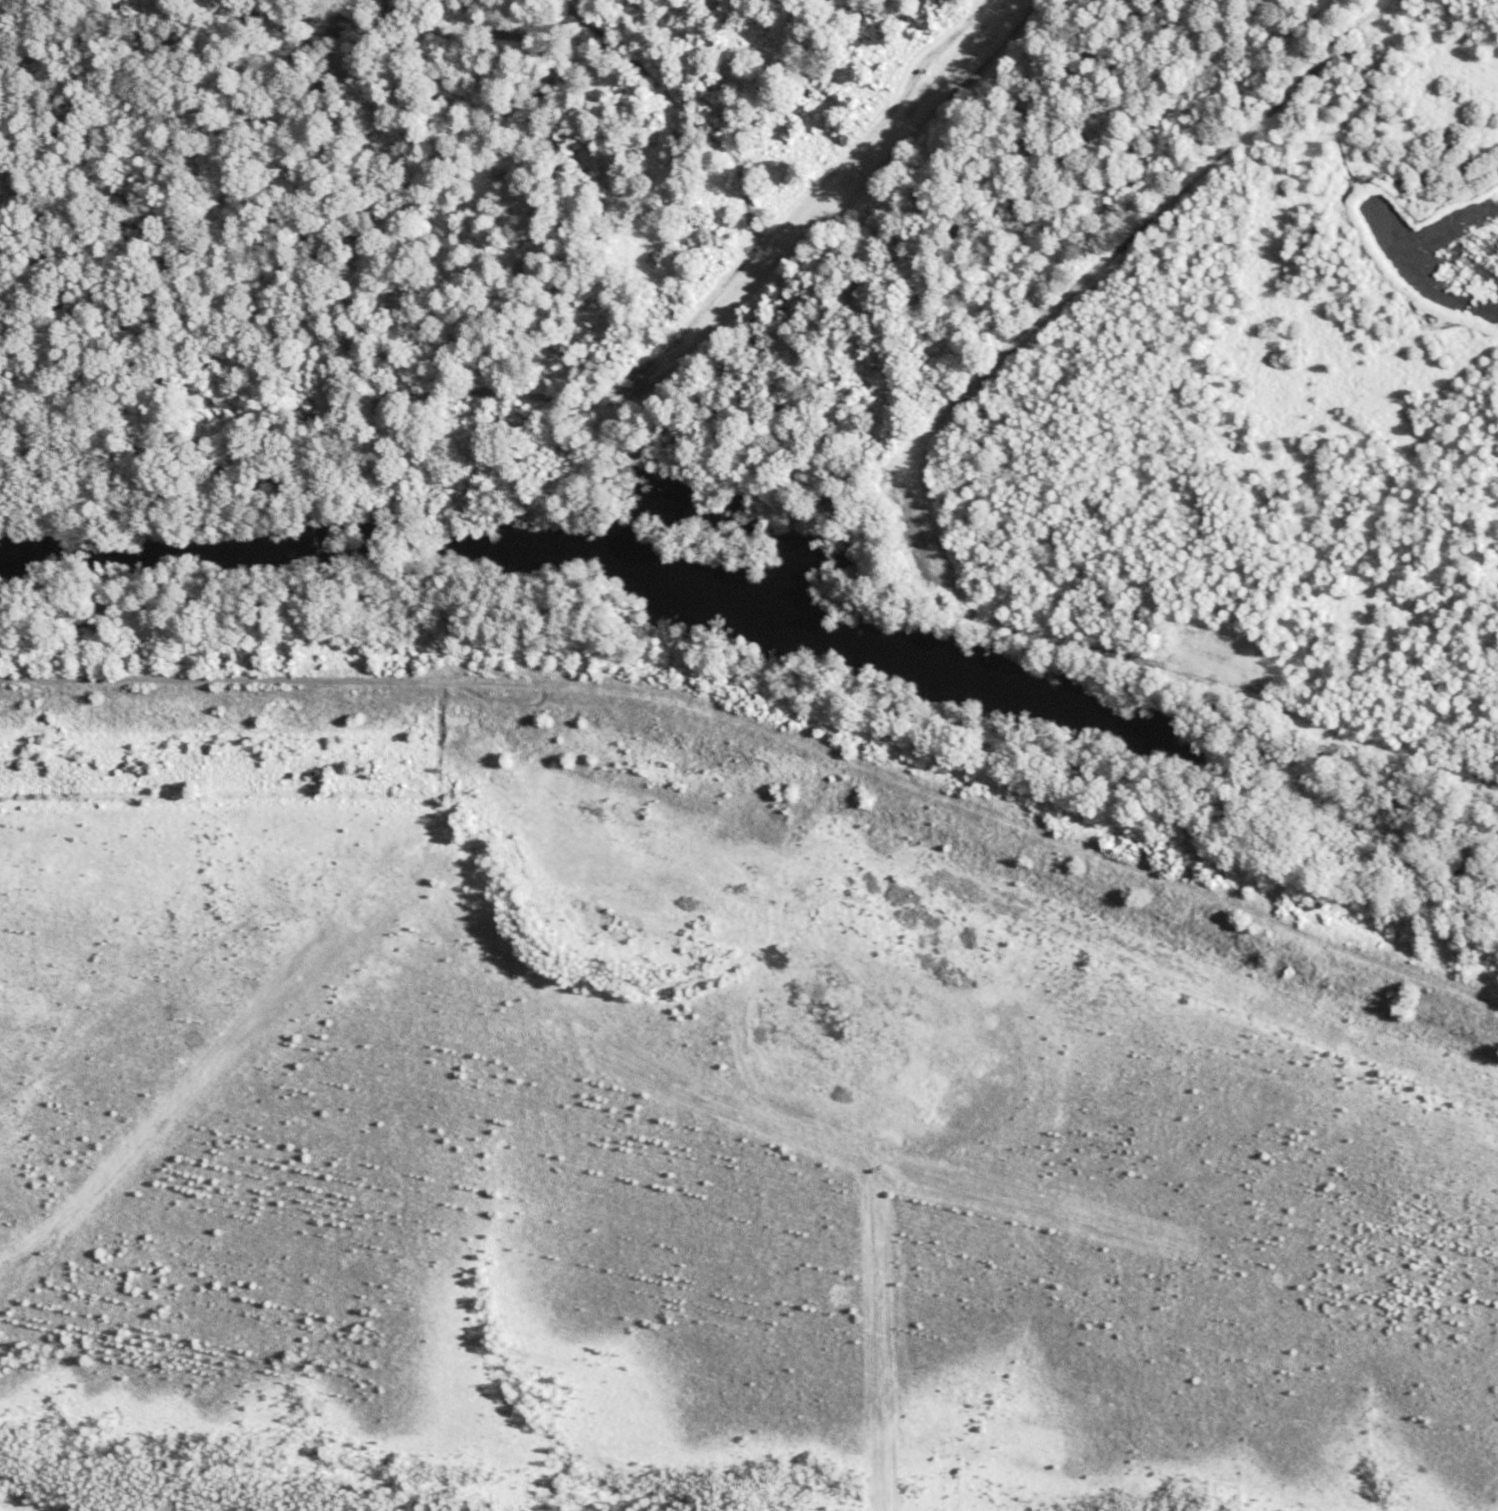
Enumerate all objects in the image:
road: (774, 725)

